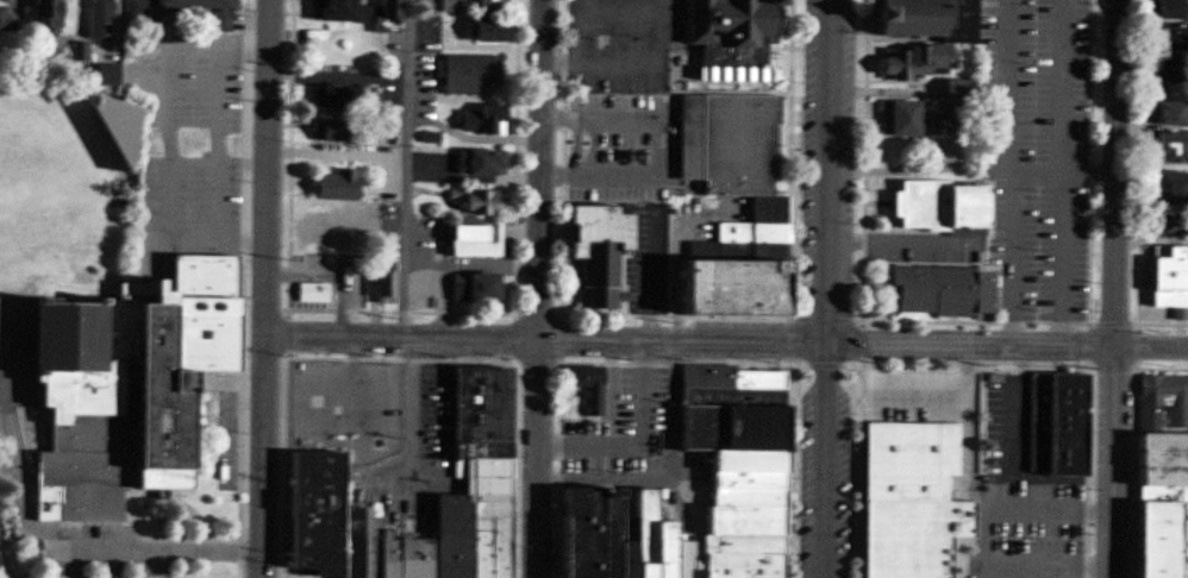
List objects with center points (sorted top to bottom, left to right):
building: (454, 4)
building: (492, 5)
building: (1174, 10)
building: (334, 11)
building: (382, 12)
building: (144, 14)
building: (46, 18)
building: (6, 19)
building: (100, 19)
building: (717, 27)
building: (492, 30)
building: (921, 33)
building: (1170, 42)
road: (632, 70)
building: (108, 73)
building: (471, 74)
building: (1174, 74)
road: (1008, 84)
road: (1061, 84)
building: (959, 89)
building: (344, 96)
building: (1174, 112)
building: (913, 119)
building: (484, 120)
building: (336, 131)
road: (657, 147)
building: (1174, 149)
building: (481, 162)
road: (387, 164)
road: (1034, 170)
building: (1174, 184)
building: (336, 186)
building: (730, 205)
building: (933, 206)
building: (476, 222)
building: (1169, 225)
building: (321, 231)
road: (1151, 238)
road: (894, 240)
building: (594, 253)
building: (1167, 278)
building: (381, 283)
building: (471, 288)
road: (826, 288)
road: (265, 289)
building: (415, 289)
road: (540, 289)
road: (1114, 289)
building: (939, 290)
building: (311, 293)
road: (545, 333)
road: (1007, 341)
building: (115, 387)
building: (586, 387)
building: (1163, 401)
building: (1052, 426)
road: (642, 439)
building: (309, 463)
building: (732, 464)
building: (907, 498)
building: (1159, 507)
road: (1018, 513)
building: (582, 527)
road: (68, 547)
road: (1046, 572)

